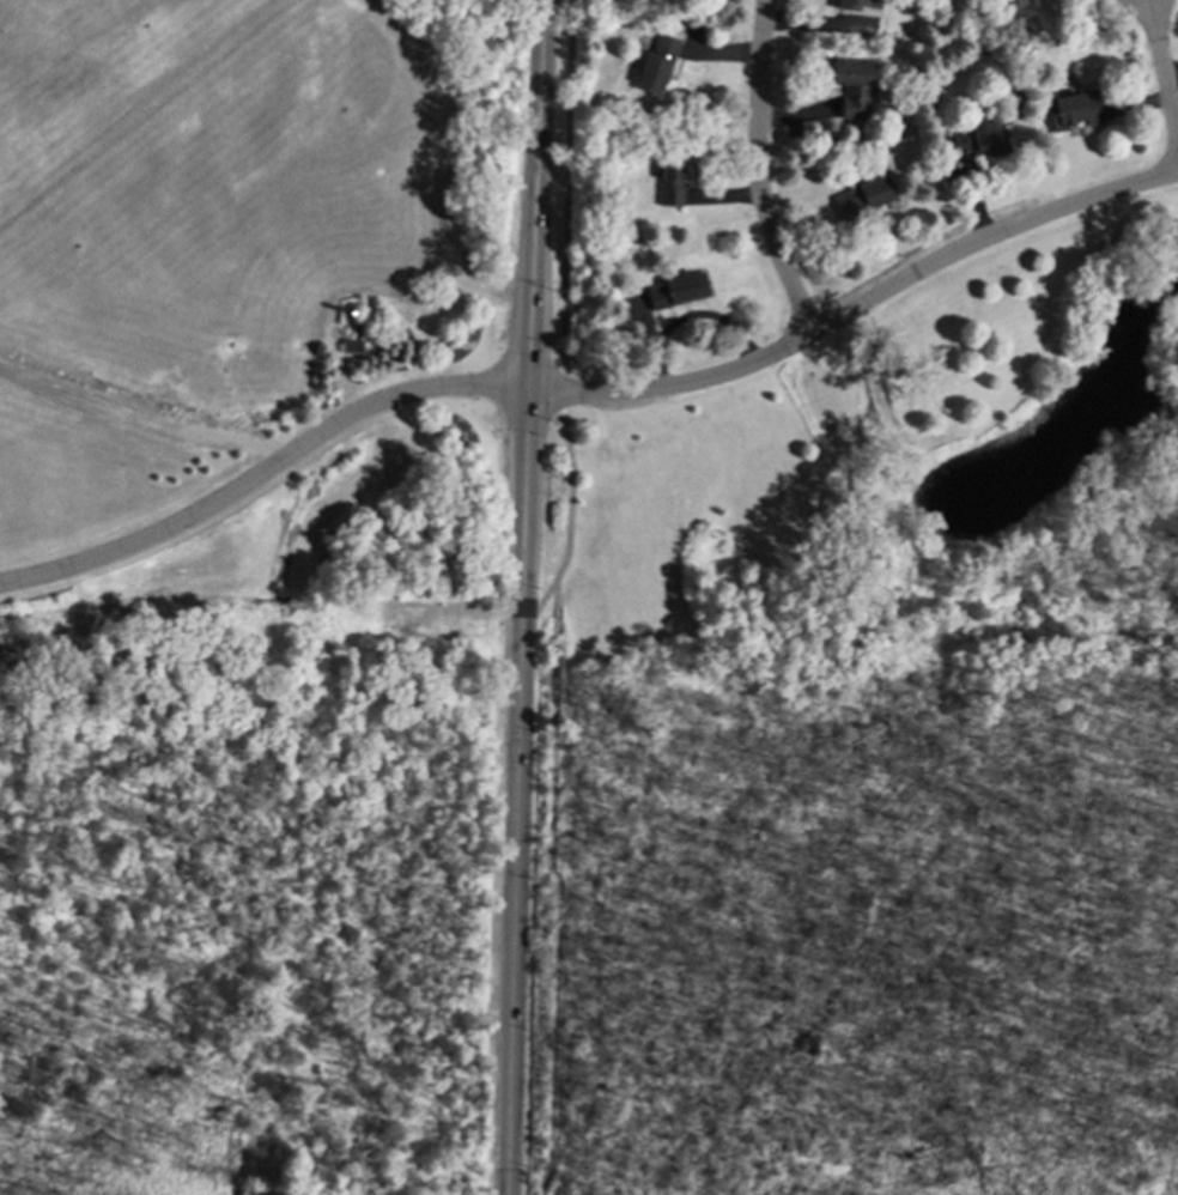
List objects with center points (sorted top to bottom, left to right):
building: (857, 6)
building: (1016, 8)
building: (655, 66)
road: (1162, 74)
building: (854, 85)
building: (1075, 109)
building: (980, 139)
road: (757, 171)
building: (670, 178)
road: (534, 196)
building: (863, 198)
building: (678, 290)
road: (857, 308)
road: (563, 319)
road: (147, 412)
park: (874, 451)
road: (263, 475)
road: (524, 509)
road: (557, 583)
road: (558, 892)
road: (515, 898)
road: (506, 1184)

